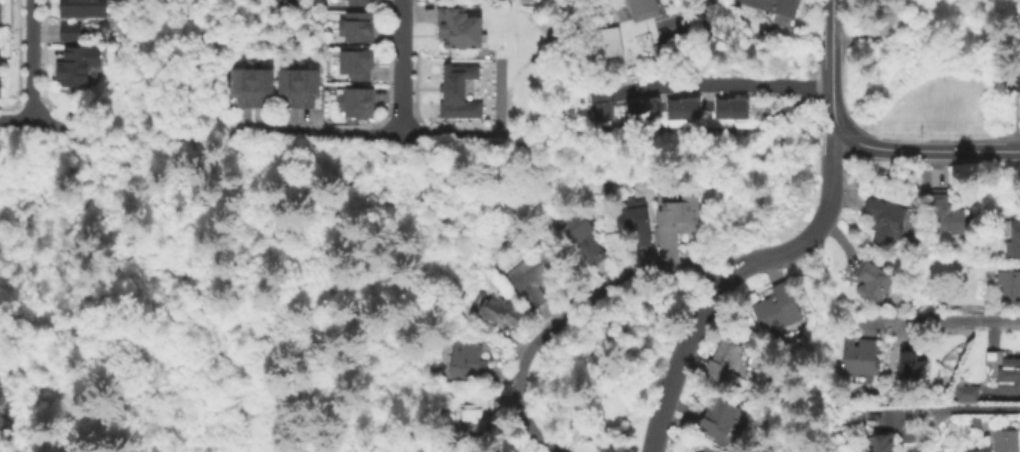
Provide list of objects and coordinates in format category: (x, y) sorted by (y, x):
building: (360, 3)
building: (775, 6)
building: (644, 9)
building: (81, 10)
road: (694, 19)
road: (401, 22)
building: (358, 28)
building: (460, 28)
building: (70, 34)
building: (606, 41)
road: (829, 52)
building: (667, 53)
road: (31, 61)
building: (357, 64)
building: (75, 69)
road: (722, 82)
building: (1013, 82)
building: (252, 88)
building: (298, 88)
road: (400, 90)
building: (459, 92)
building: (357, 103)
building: (602, 104)
building: (684, 109)
building: (645, 110)
building: (732, 110)
road: (834, 120)
road: (16, 121)
road: (133, 133)
road: (643, 134)
road: (343, 135)
road: (930, 149)
building: (944, 215)
building: (679, 217)
building: (633, 219)
building: (884, 220)
building: (583, 237)
building: (1011, 237)
road: (733, 274)
building: (533, 276)
building: (872, 281)
building: (1004, 286)
building: (778, 308)
building: (499, 312)
road: (568, 316)
road: (938, 320)
building: (978, 345)
building: (860, 356)
building: (467, 361)
building: (725, 364)
building: (911, 364)
building: (1010, 375)
building: (967, 393)
road: (948, 406)
building: (475, 412)
building: (719, 418)
building: (976, 423)
building: (1005, 441)
building: (880, 442)

